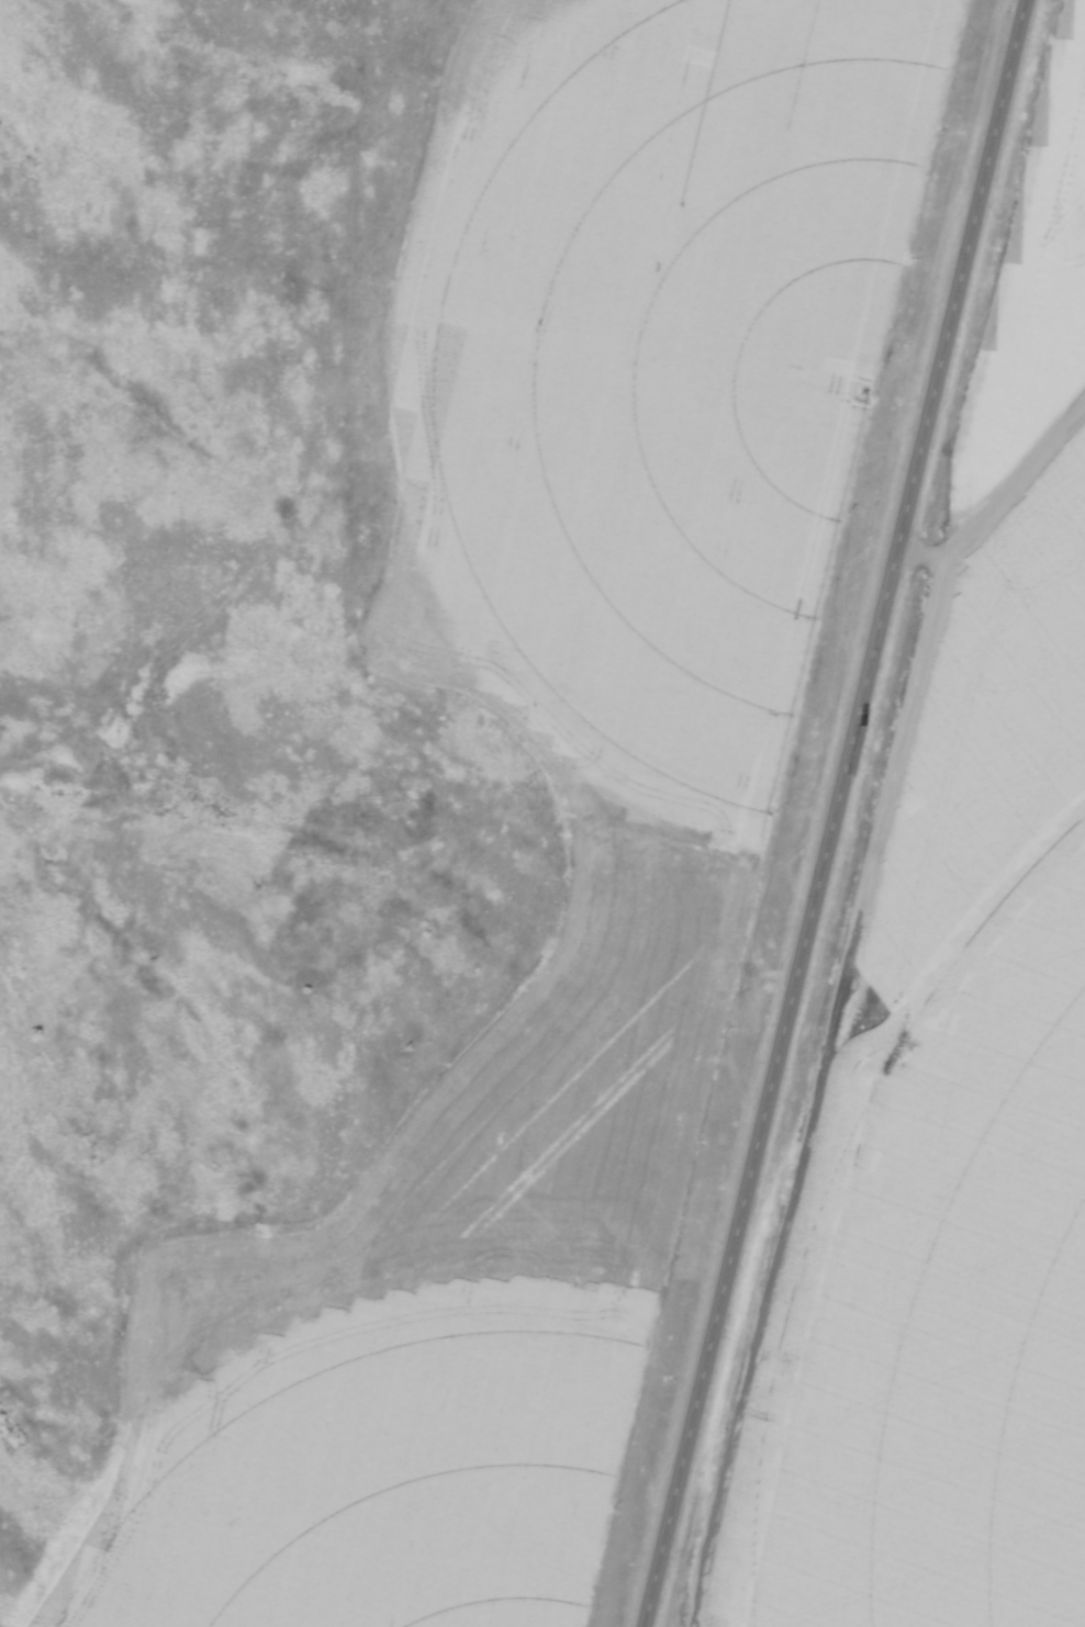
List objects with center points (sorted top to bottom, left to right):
road: (831, 813)

